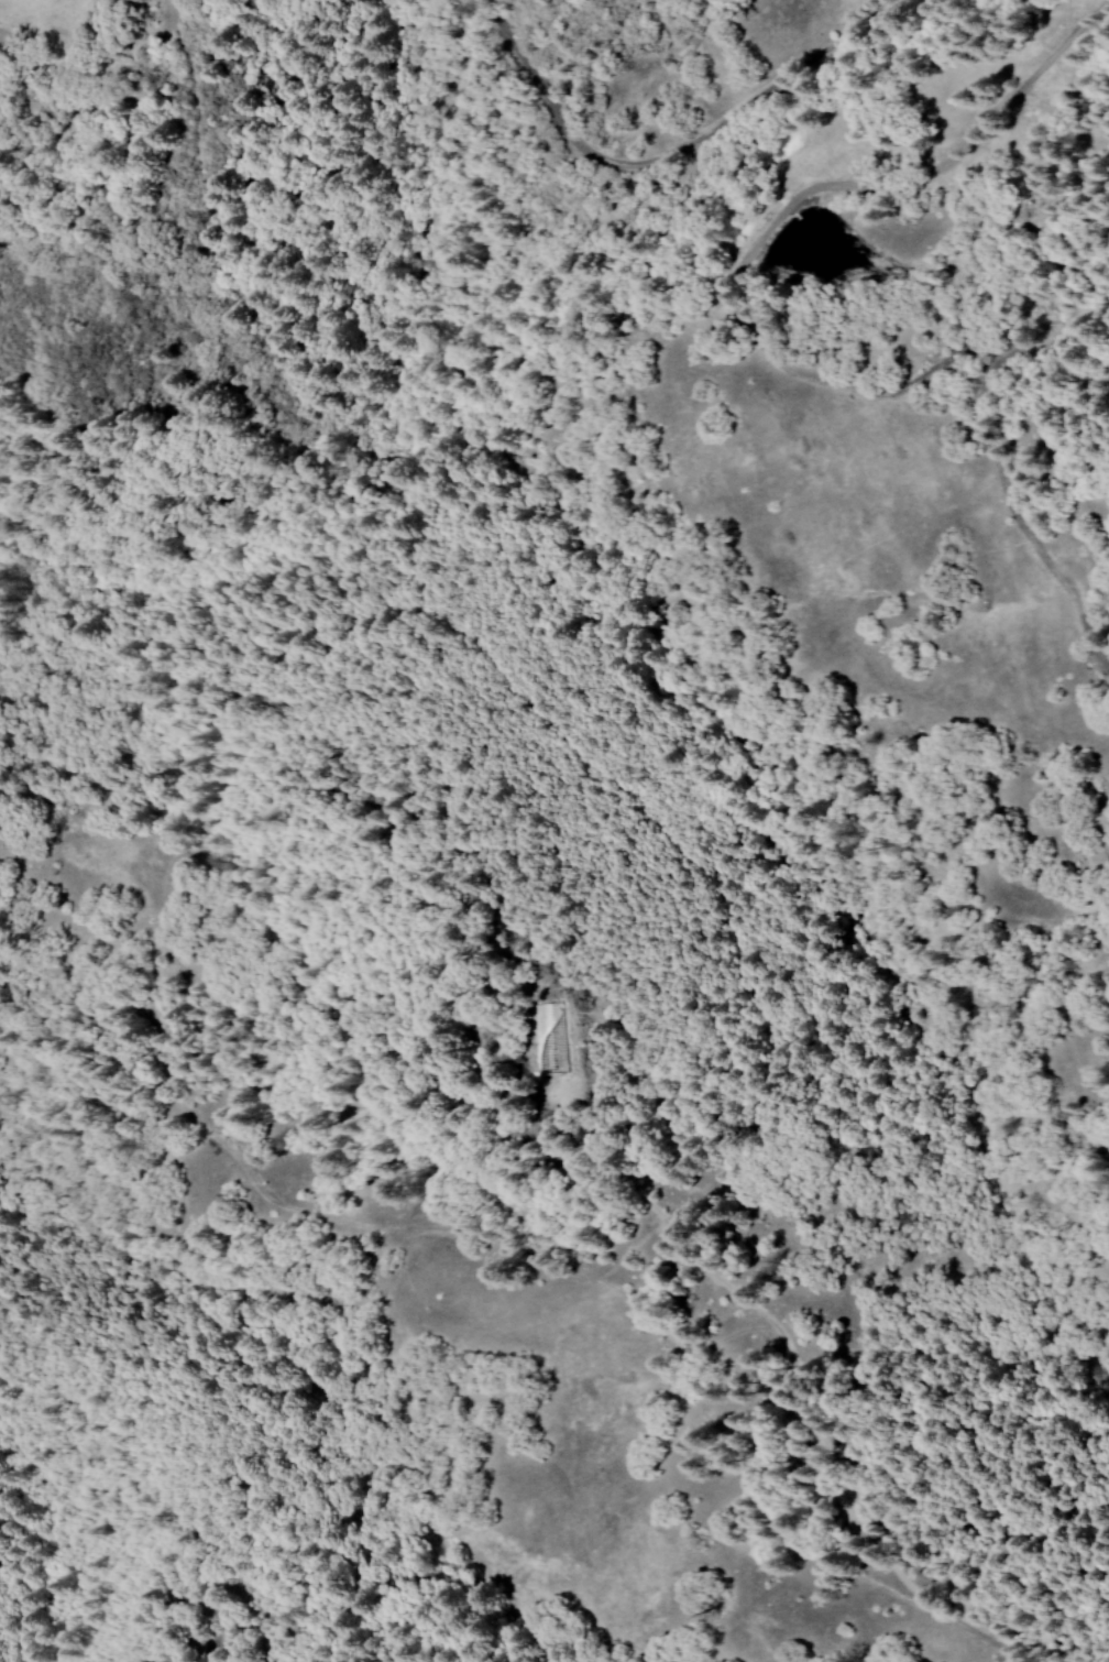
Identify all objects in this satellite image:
road: (682, 163)

